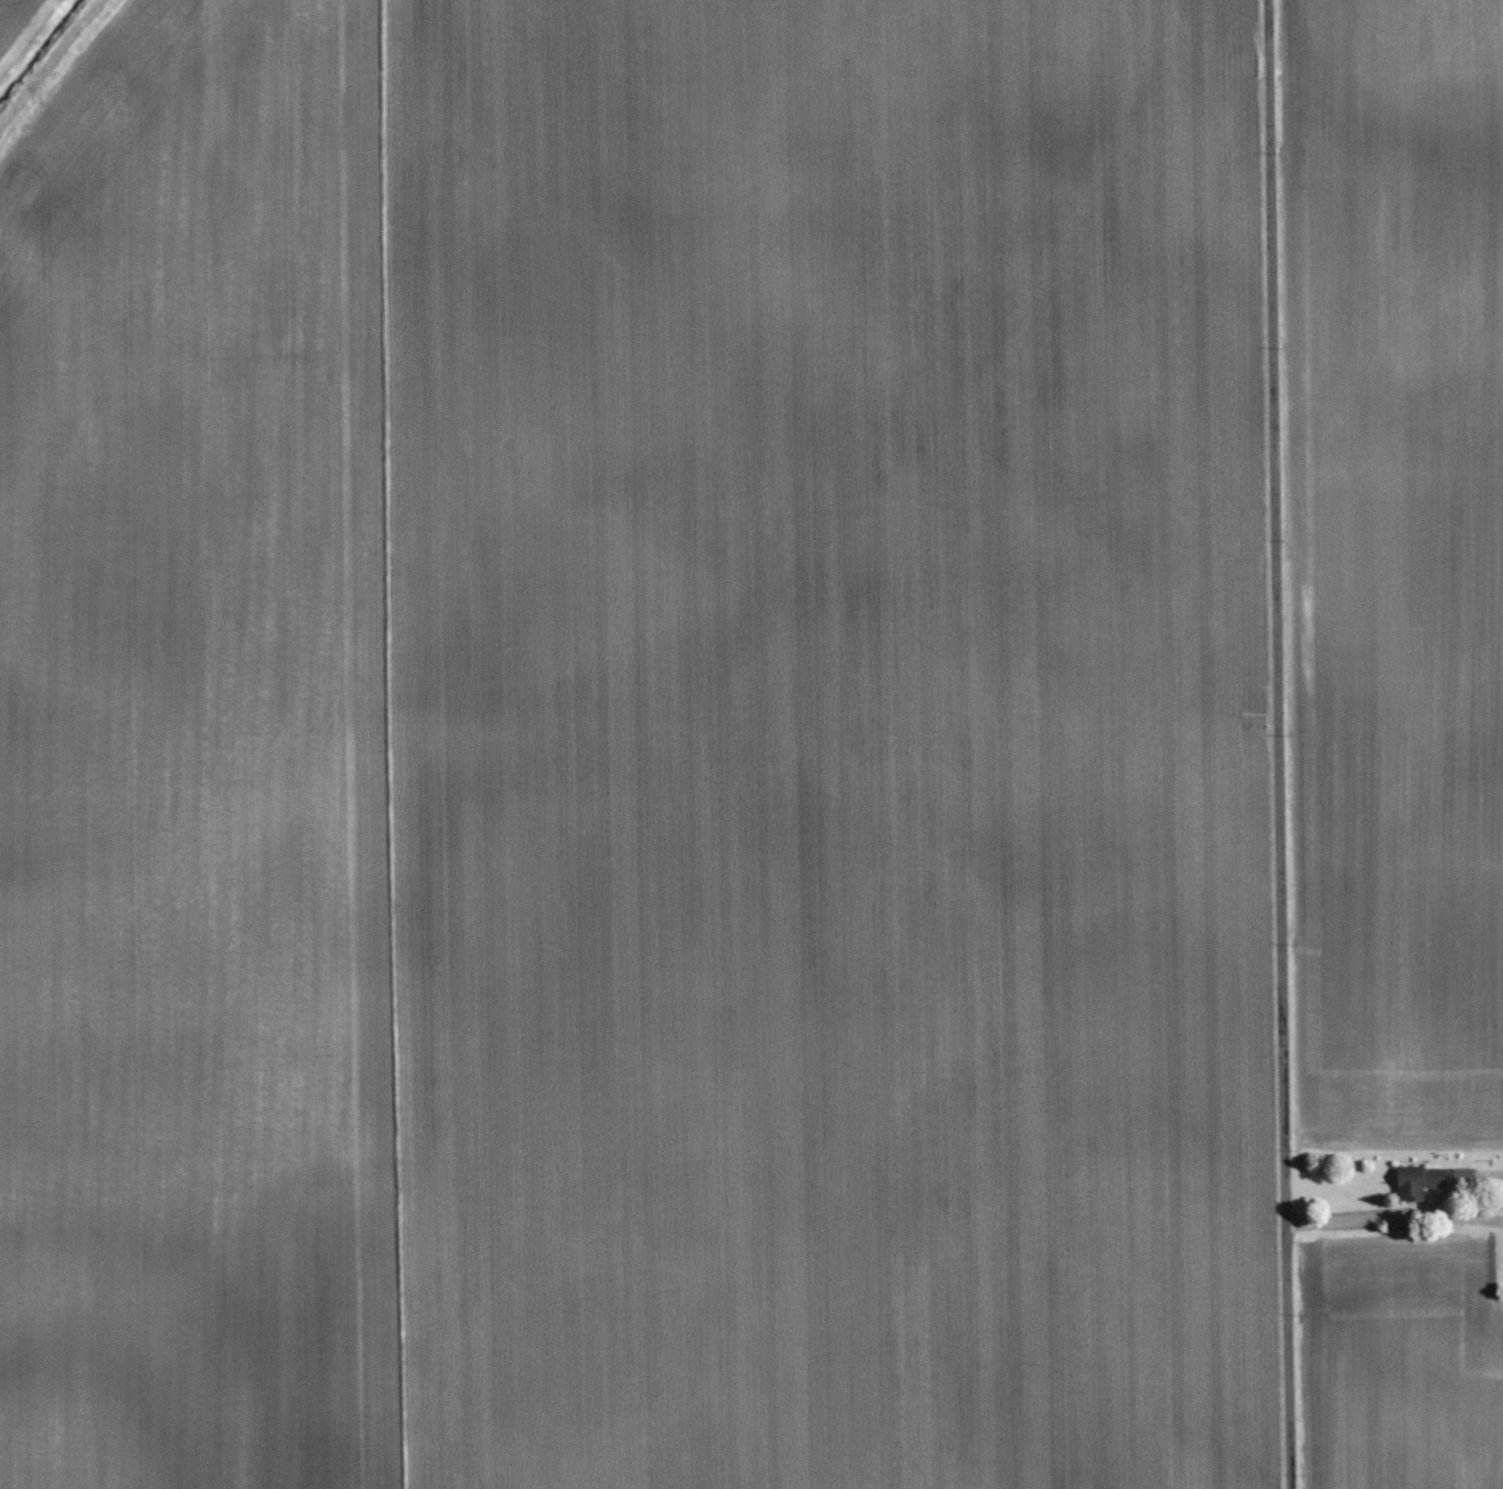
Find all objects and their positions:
road: (1281, 744)
building: (1417, 1180)
building: (1479, 1180)

